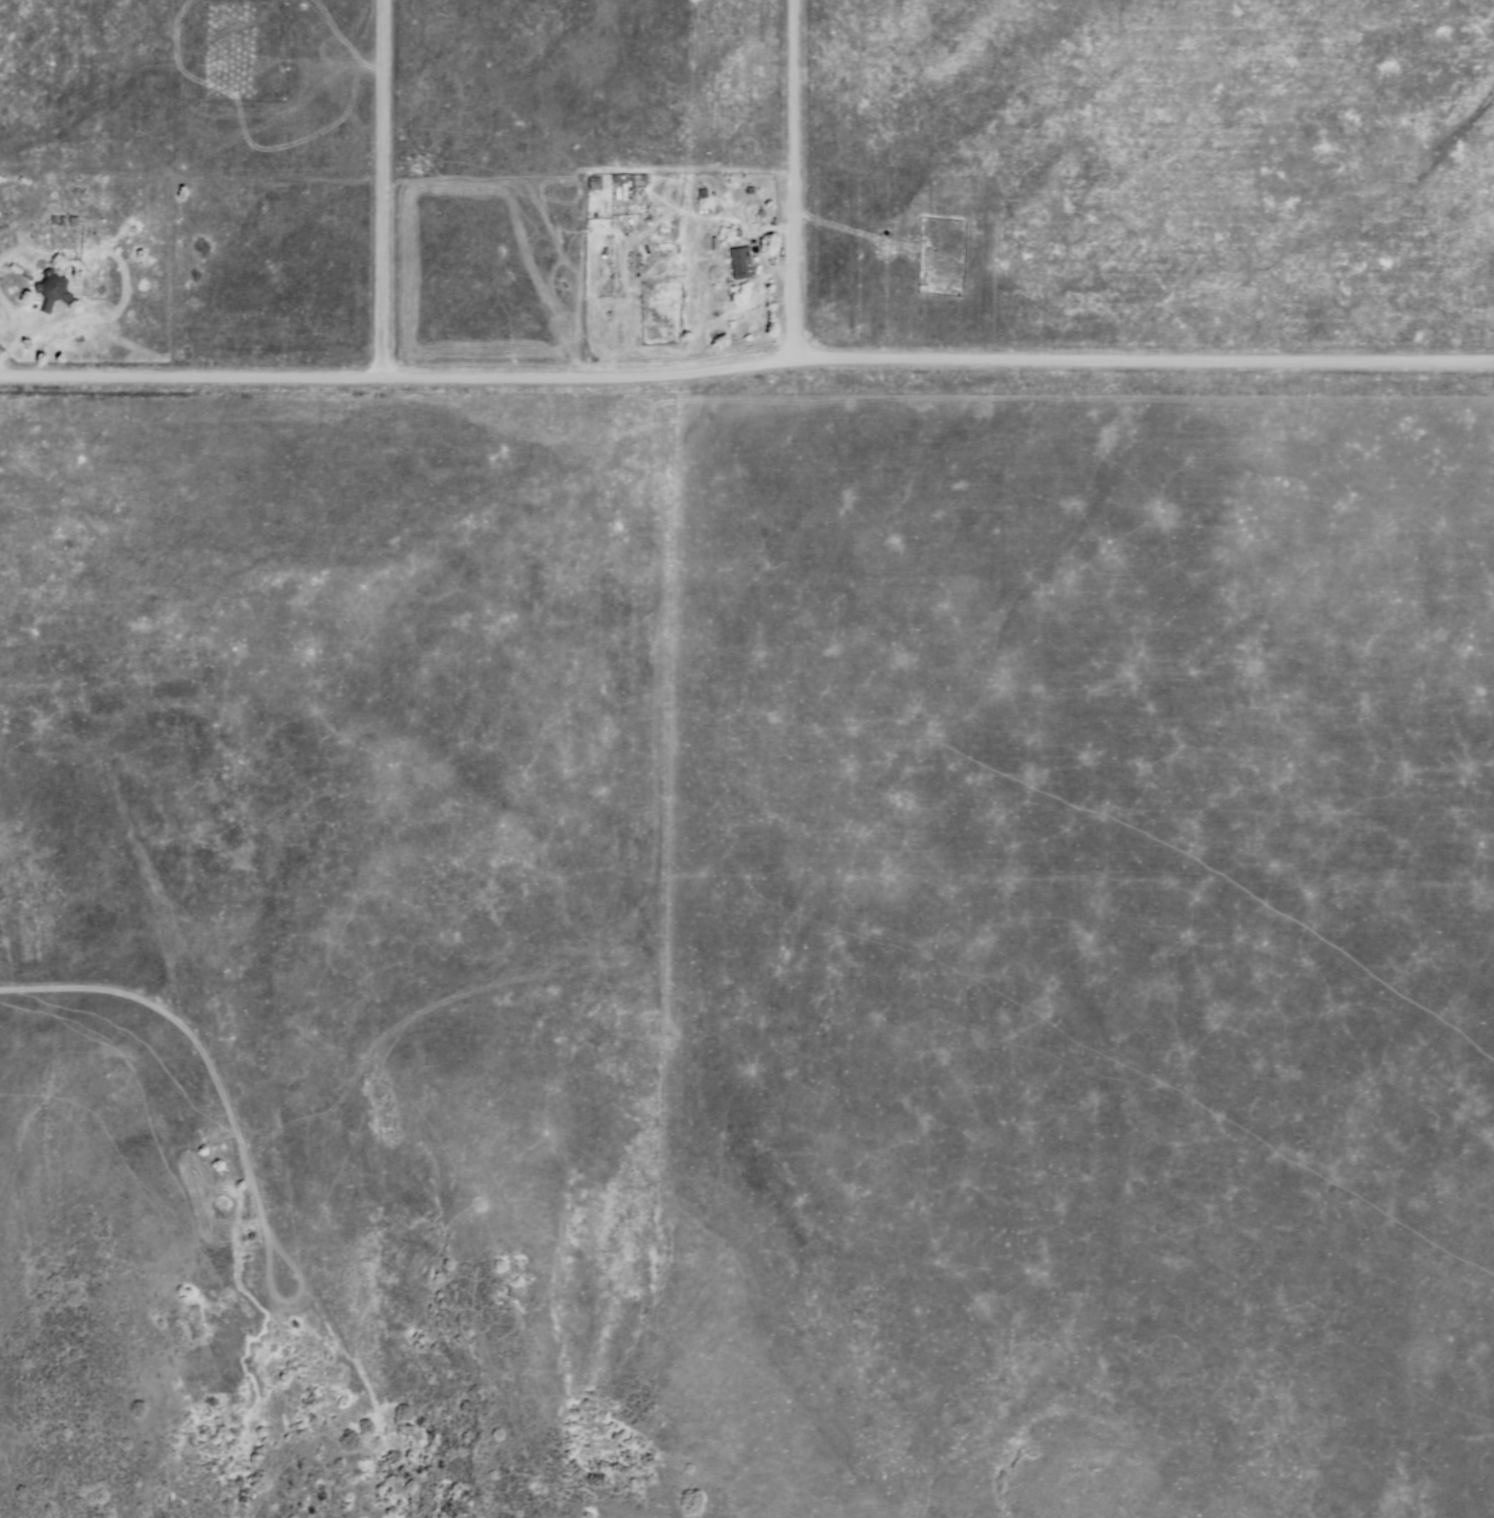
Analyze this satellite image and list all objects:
road: (795, 181)
road: (373, 189)
building: (739, 263)
building: (51, 289)
road: (746, 368)
road: (196, 1041)
storage tank: (252, 1236)
road: (292, 1301)

